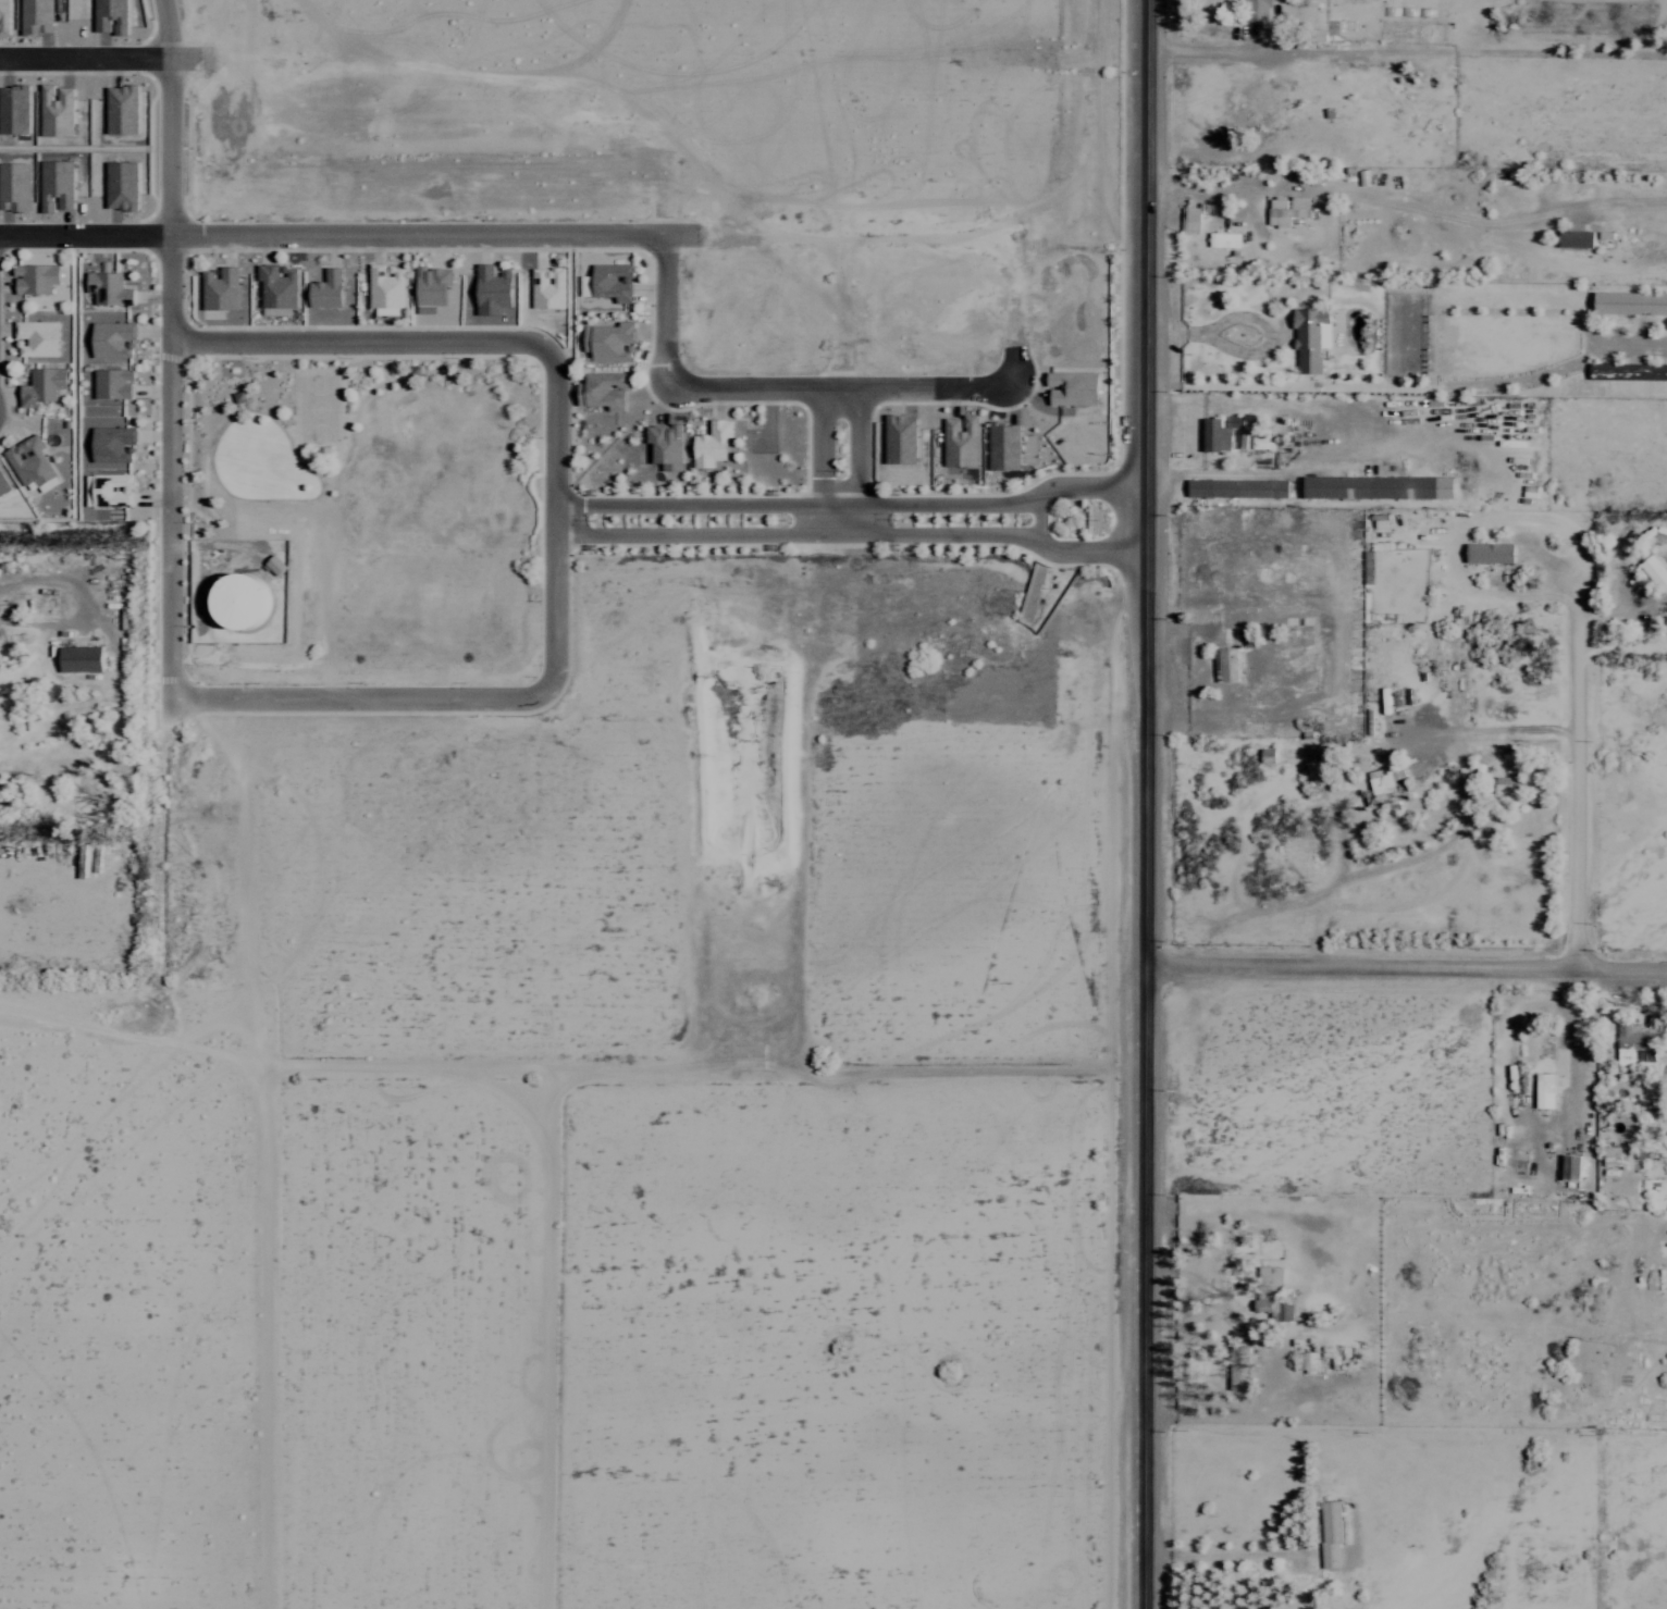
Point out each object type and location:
building: (1255, 10)
road: (99, 58)
building: (1285, 210)
building: (1187, 220)
building: (1572, 236)
road: (348, 239)
building: (1221, 239)
building: (37, 277)
building: (609, 282)
building: (110, 287)
building: (433, 287)
building: (550, 287)
building: (220, 288)
building: (328, 288)
building: (494, 288)
building: (1629, 304)
road: (664, 308)
building: (38, 337)
building: (114, 338)
building: (1308, 338)
road: (171, 364)
building: (1627, 371)
building: (113, 383)
building: (44, 385)
building: (604, 389)
road: (853, 392)
building: (1217, 432)
building: (1259, 440)
building: (956, 442)
building: (114, 443)
building: (663, 444)
building: (707, 444)
building: (1000, 447)
building: (32, 461)
road: (823, 462)
road: (864, 462)
building: (3, 484)
building: (1374, 486)
building: (1235, 487)
building: (110, 490)
road: (854, 503)
road: (559, 519)
building: (1379, 520)
road: (855, 533)
building: (1487, 553)
building: (276, 564)
building: (1653, 572)
building: (245, 601)
building: (83, 658)
building: (1223, 665)
building: (1263, 754)
road: (1576, 784)
building: (1384, 789)
building: (1507, 791)
road: (1148, 804)
road: (1406, 963)
building: (1633, 1045)
building: (1543, 1090)
building: (1608, 1155)
building: (1567, 1167)
building: (1268, 1278)
building: (1259, 1305)
building: (1282, 1310)
building: (1236, 1369)
building: (1328, 1533)

